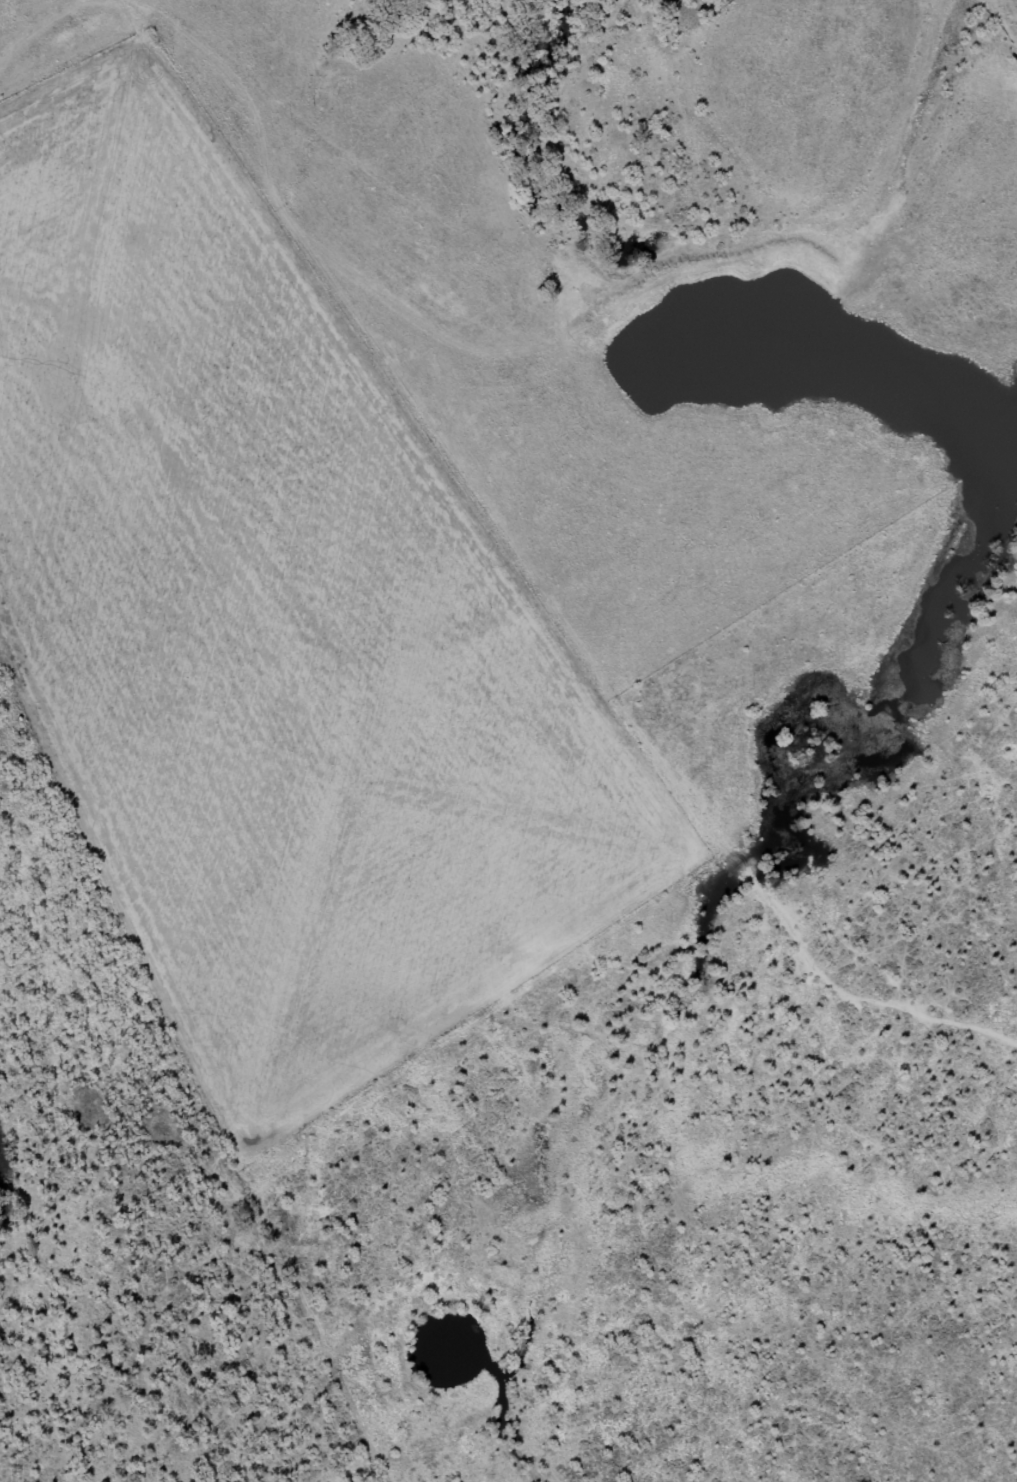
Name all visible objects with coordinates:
road: (470, 350)
road: (691, 1319)

